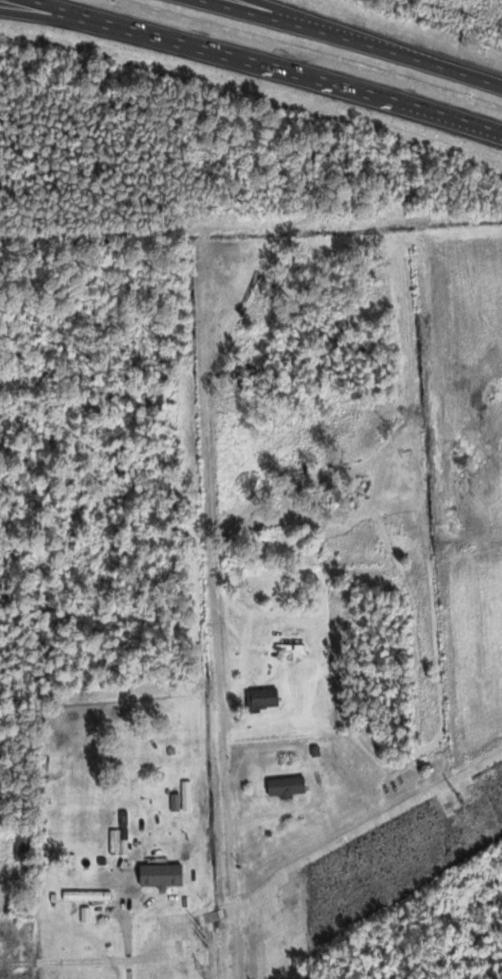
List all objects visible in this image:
road: (40, 10)
road: (309, 27)
road: (344, 43)
road: (267, 64)
building: (263, 699)
road: (224, 770)
building: (286, 787)
power tower: (501, 817)
building: (23, 844)
building: (161, 875)
building: (3, 893)
building: (86, 895)
power tower: (197, 938)
power tower: (203, 973)

